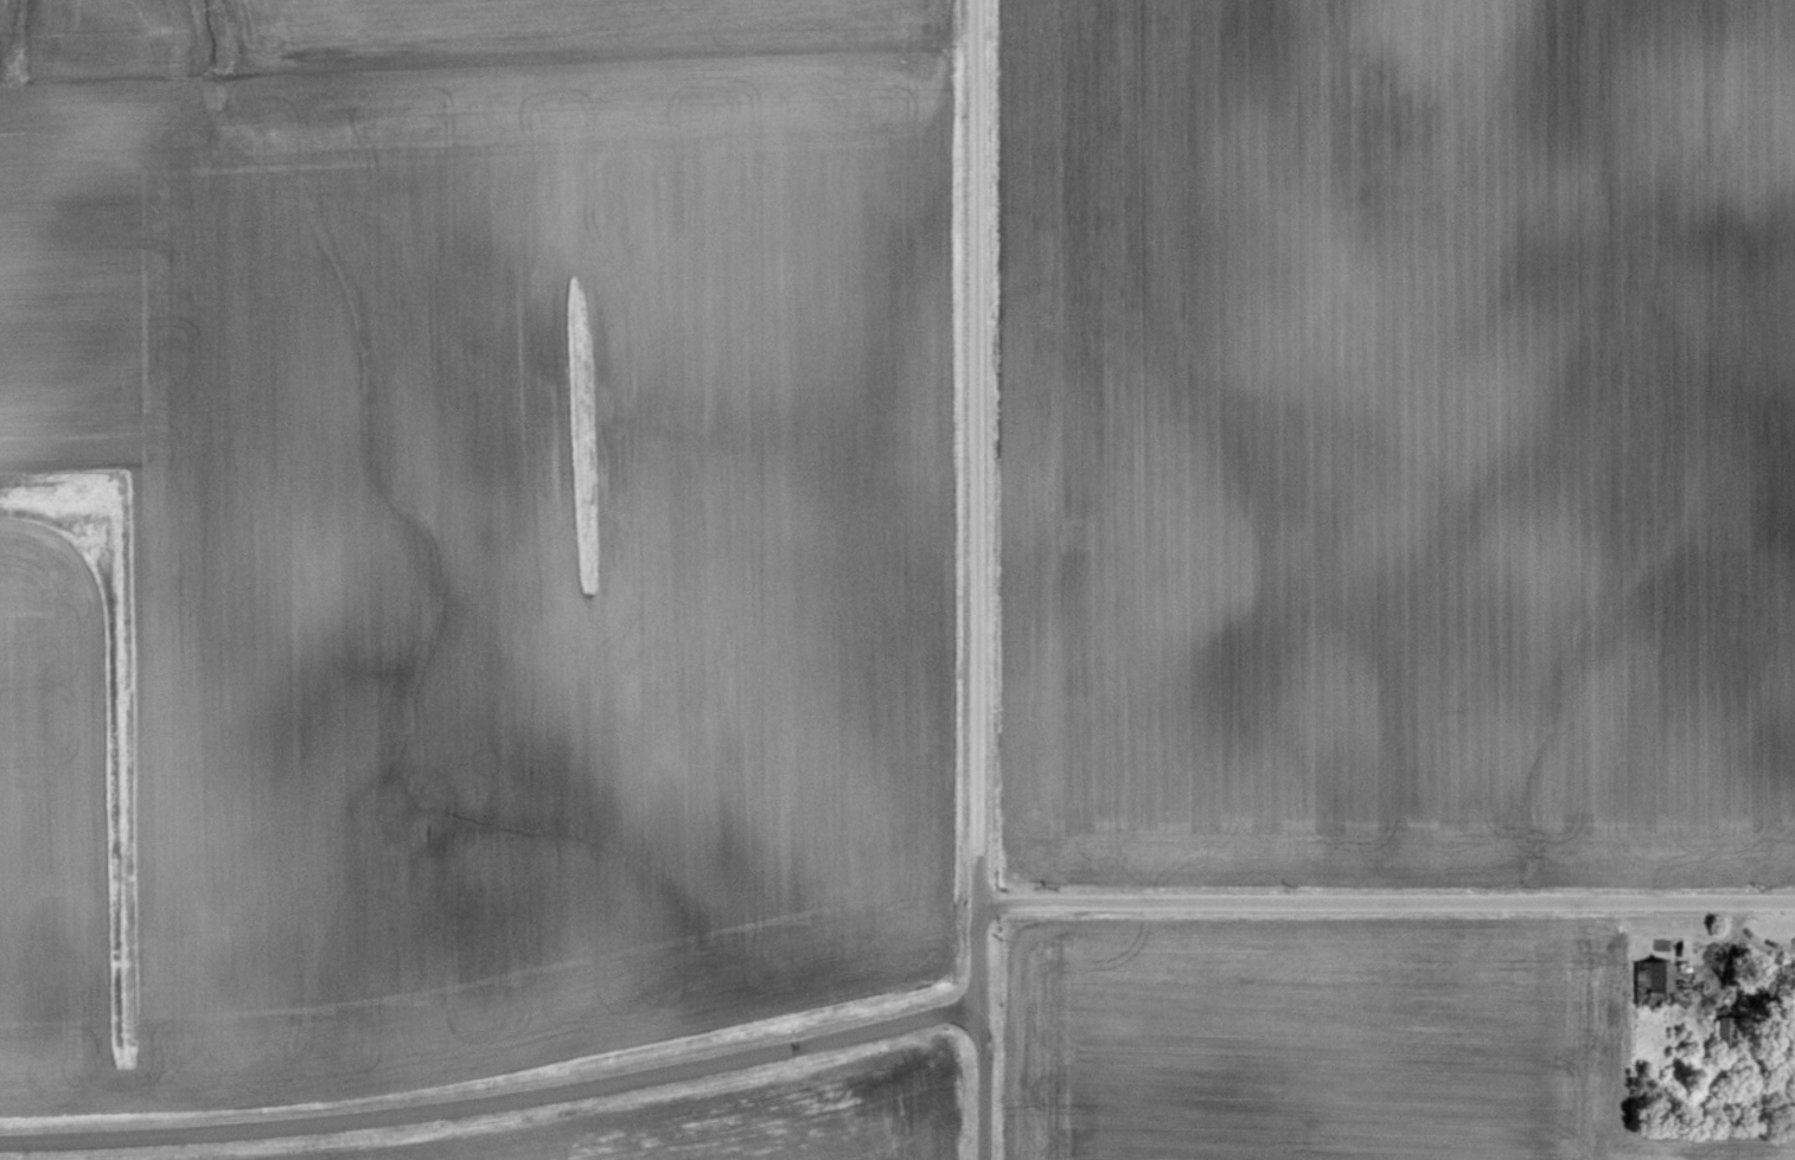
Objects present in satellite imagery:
road: (976, 504)
road: (1386, 897)
building: (1656, 979)
road: (982, 1083)
road: (493, 1102)

